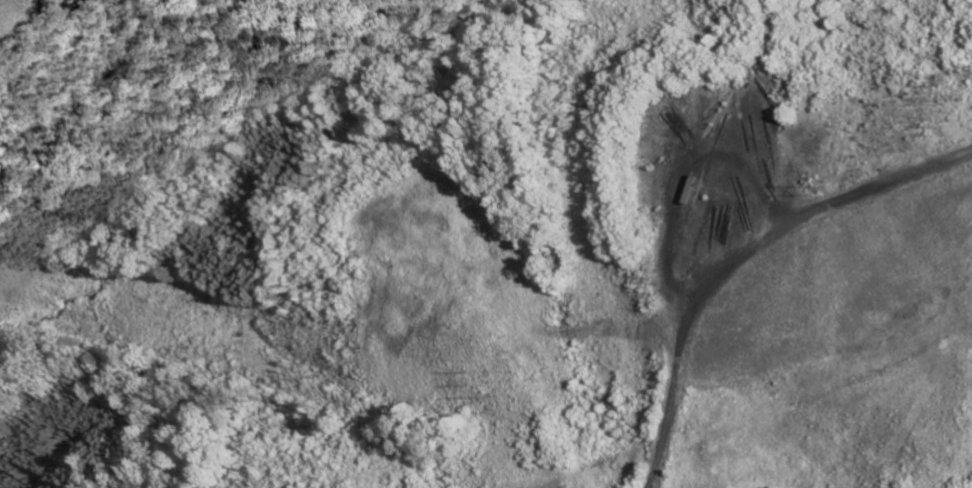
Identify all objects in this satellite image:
road: (903, 25)
power tower: (815, 186)
road: (726, 209)
road: (765, 284)
power tower: (483, 382)

